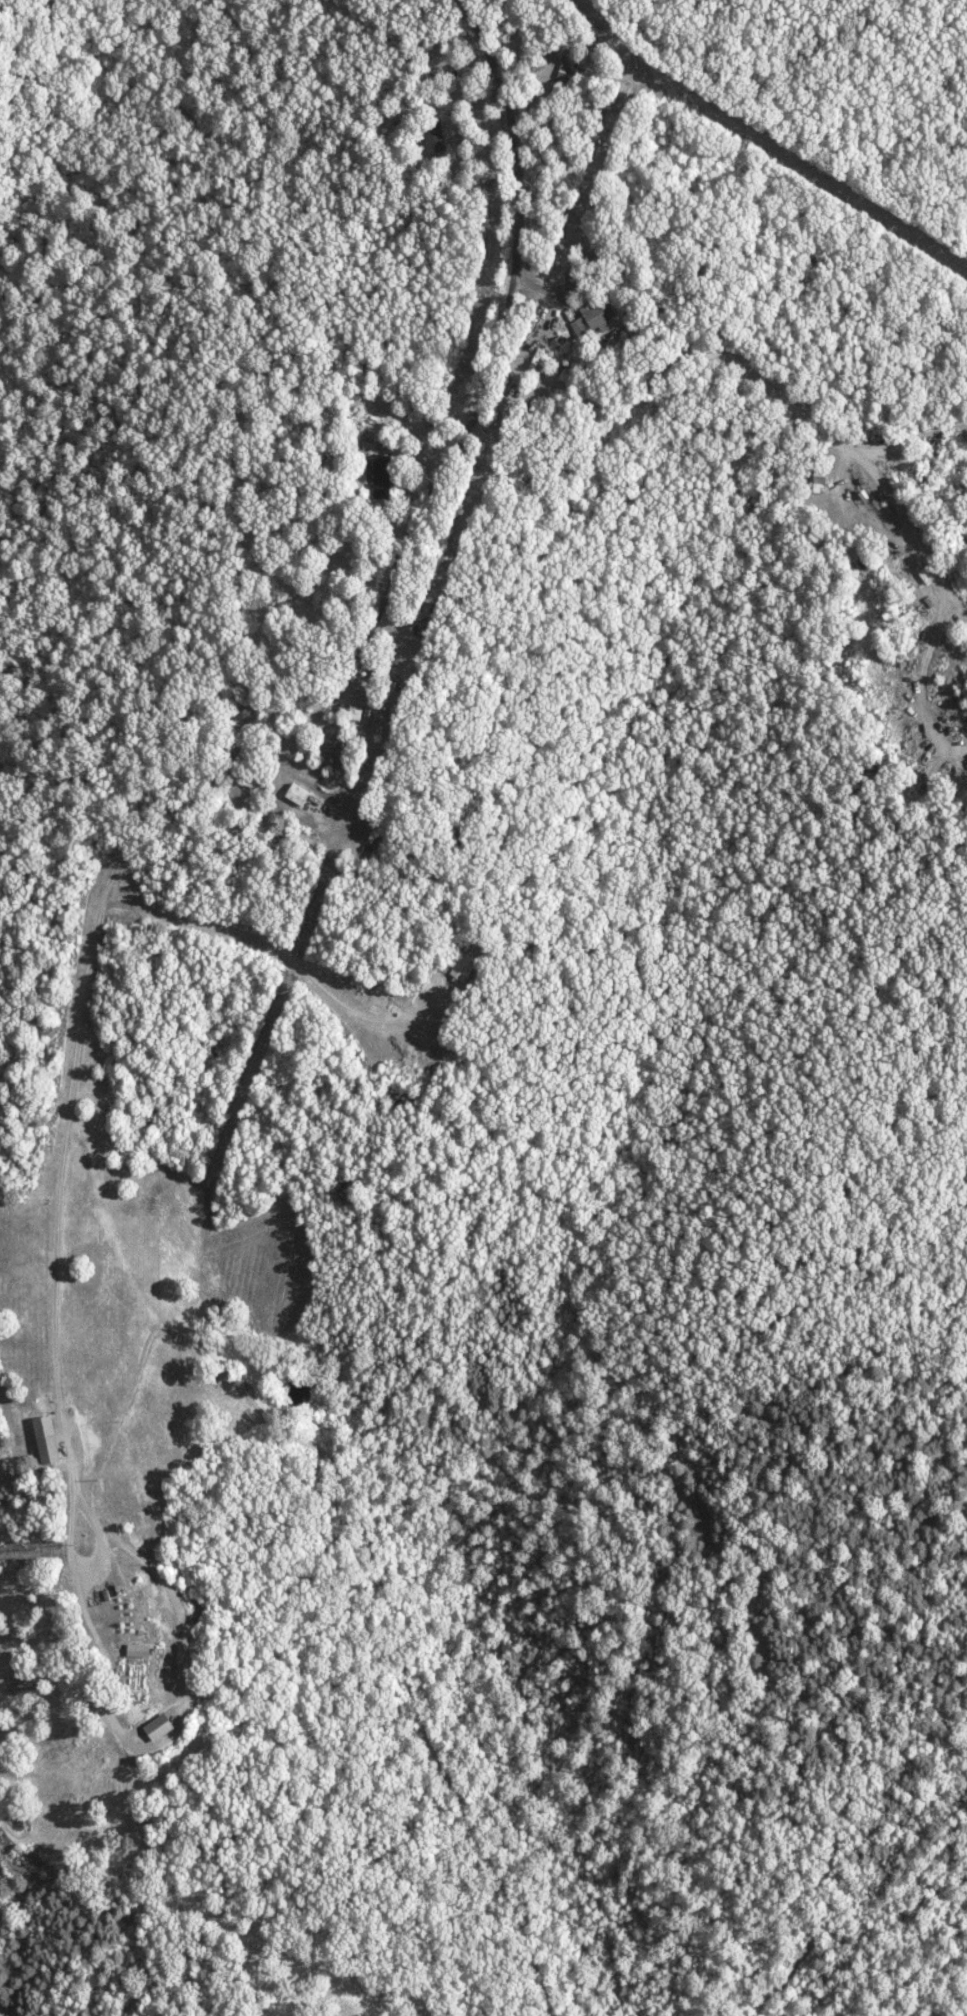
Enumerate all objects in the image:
building: (563, 83)
building: (436, 141)
road: (576, 224)
building: (596, 315)
road: (491, 354)
road: (780, 390)
building: (384, 475)
building: (867, 493)
road: (952, 605)
building: (382, 671)
road: (919, 683)
building: (247, 705)
building: (364, 712)
building: (338, 748)
building: (299, 794)
building: (464, 966)
road: (64, 1126)
building: (47, 1439)
road: (175, 1612)
building: (140, 1650)
building: (161, 1727)

